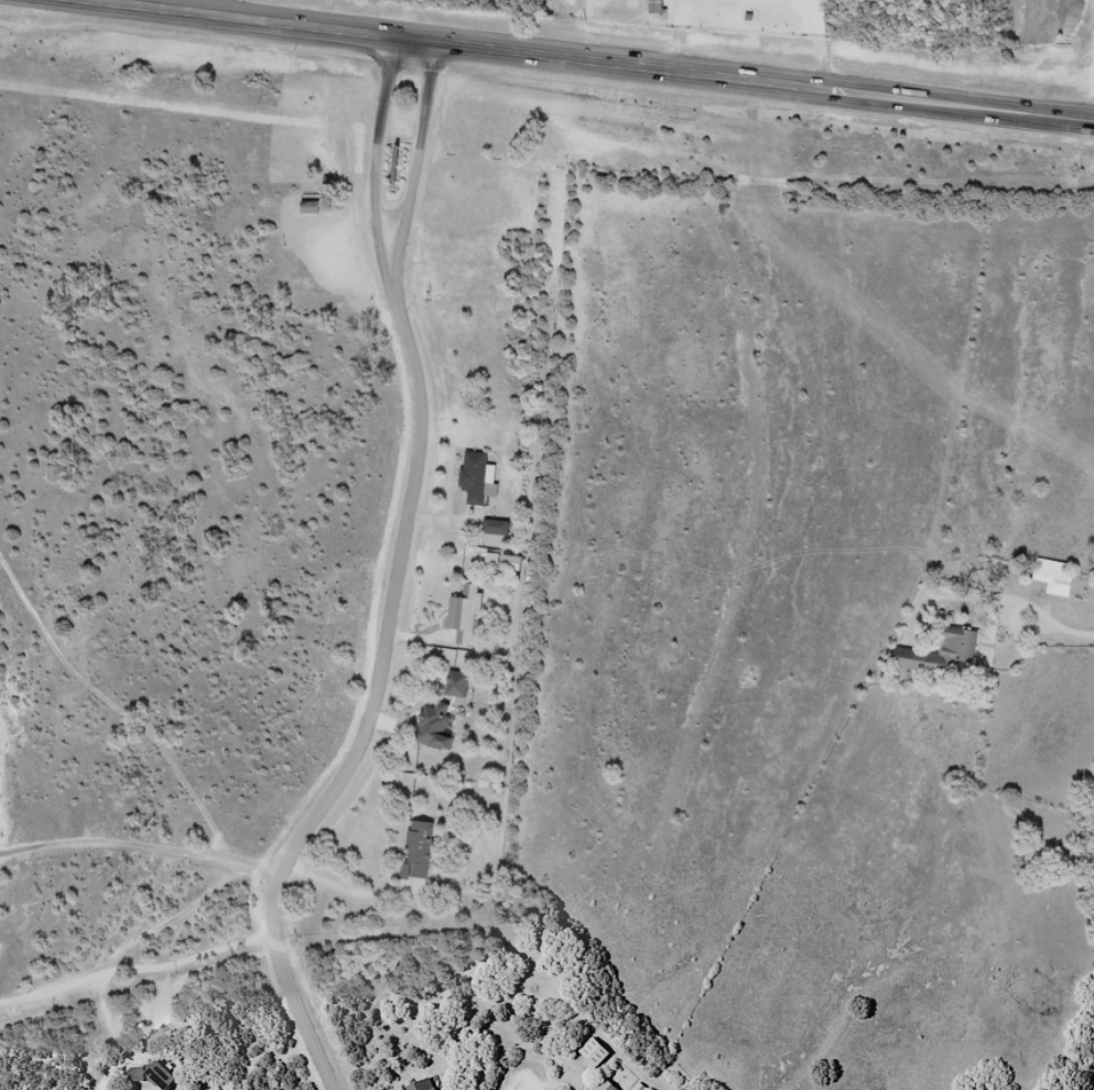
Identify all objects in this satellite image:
building: (654, 7)
road: (572, 60)
road: (377, 164)
road: (425, 169)
building: (308, 206)
building: (483, 482)
building: (495, 527)
building: (505, 533)
building: (510, 570)
building: (1053, 575)
building: (474, 620)
building: (939, 652)
building: (467, 691)
road: (369, 704)
building: (442, 736)
road: (141, 841)
building: (427, 854)
road: (137, 972)
building: (600, 1059)
building: (160, 1080)
road: (110, 1086)
building: (419, 1086)
building: (609, 1086)
building: (431, 1087)

